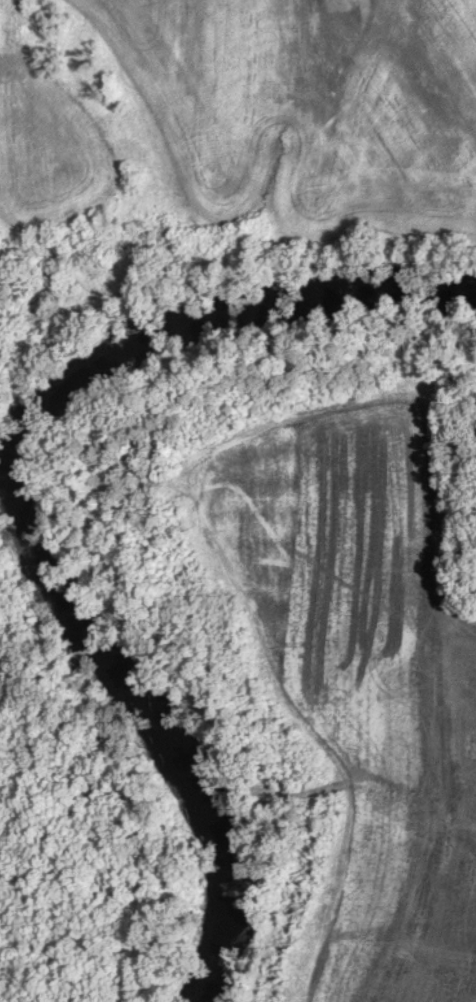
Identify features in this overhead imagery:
river: (16, 501)

